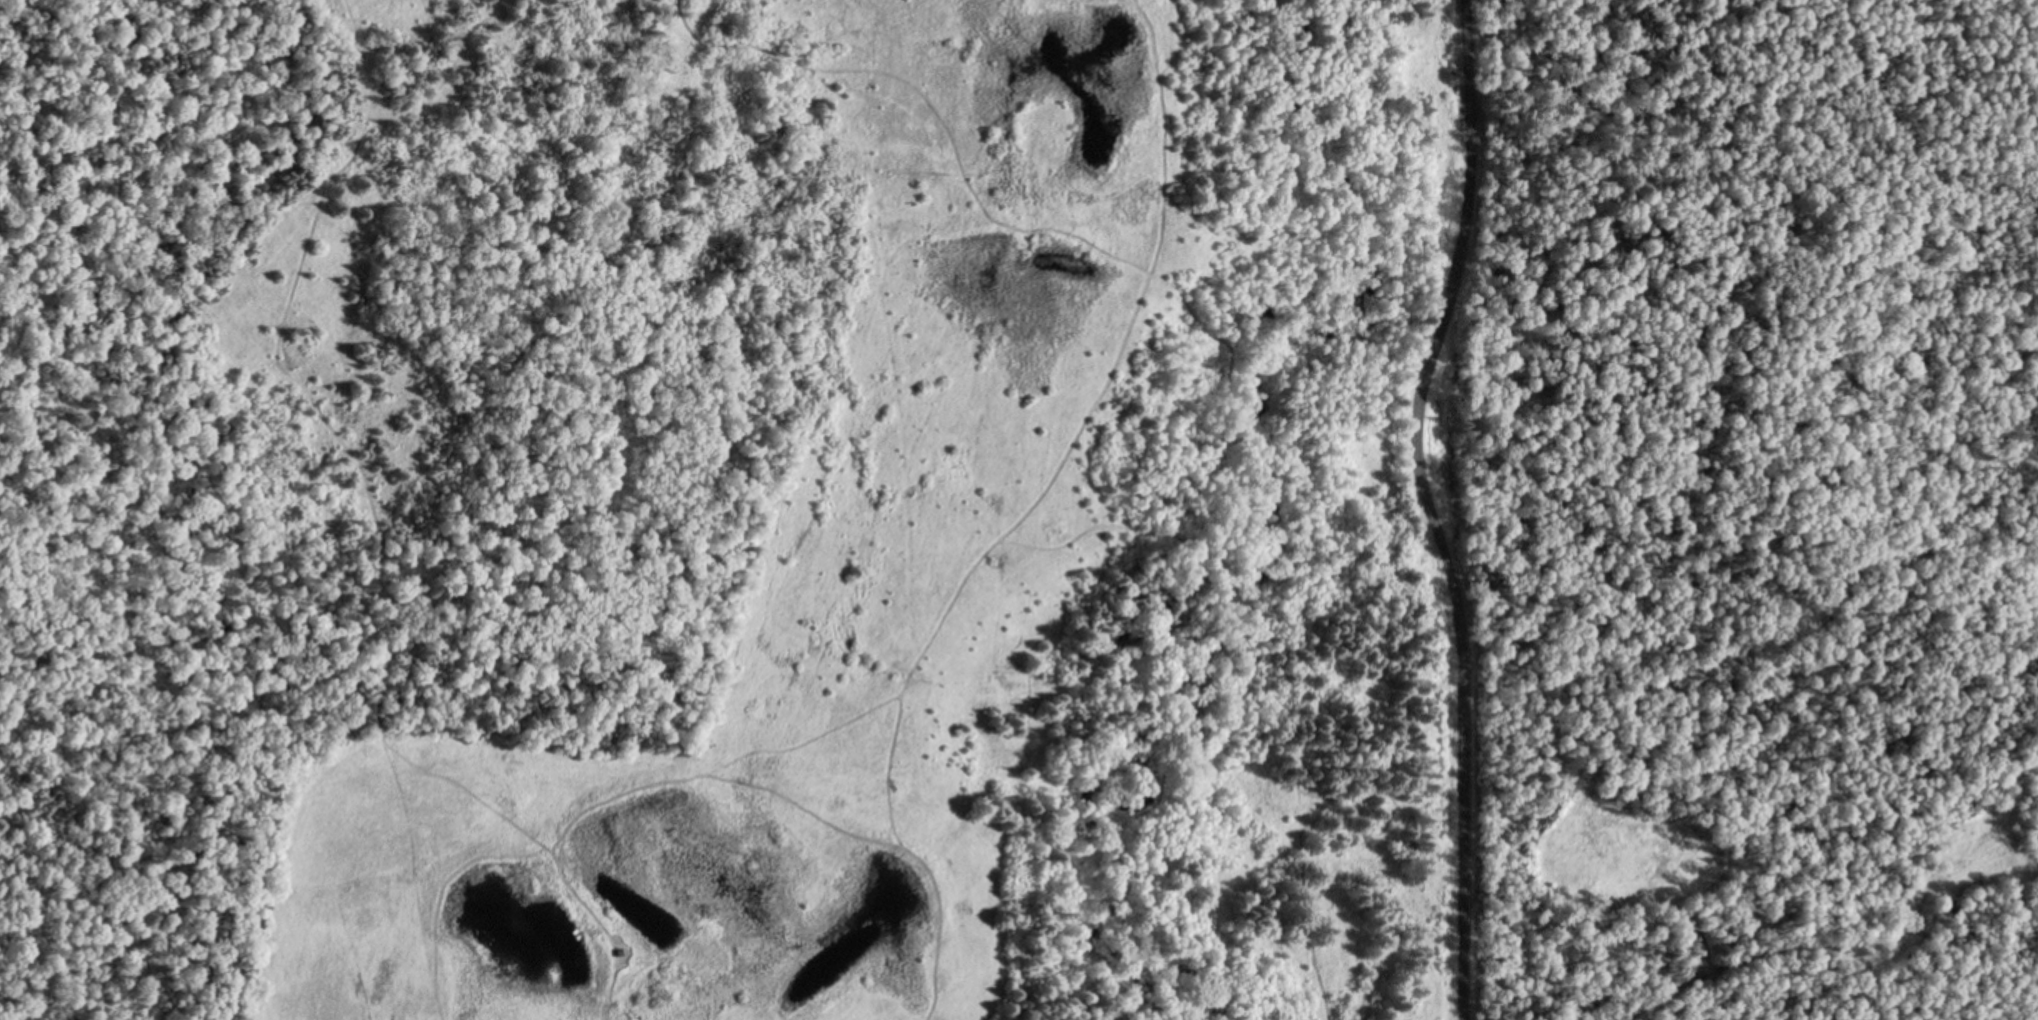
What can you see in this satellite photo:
road: (1467, 110)
road: (1407, 454)
road: (1462, 853)

